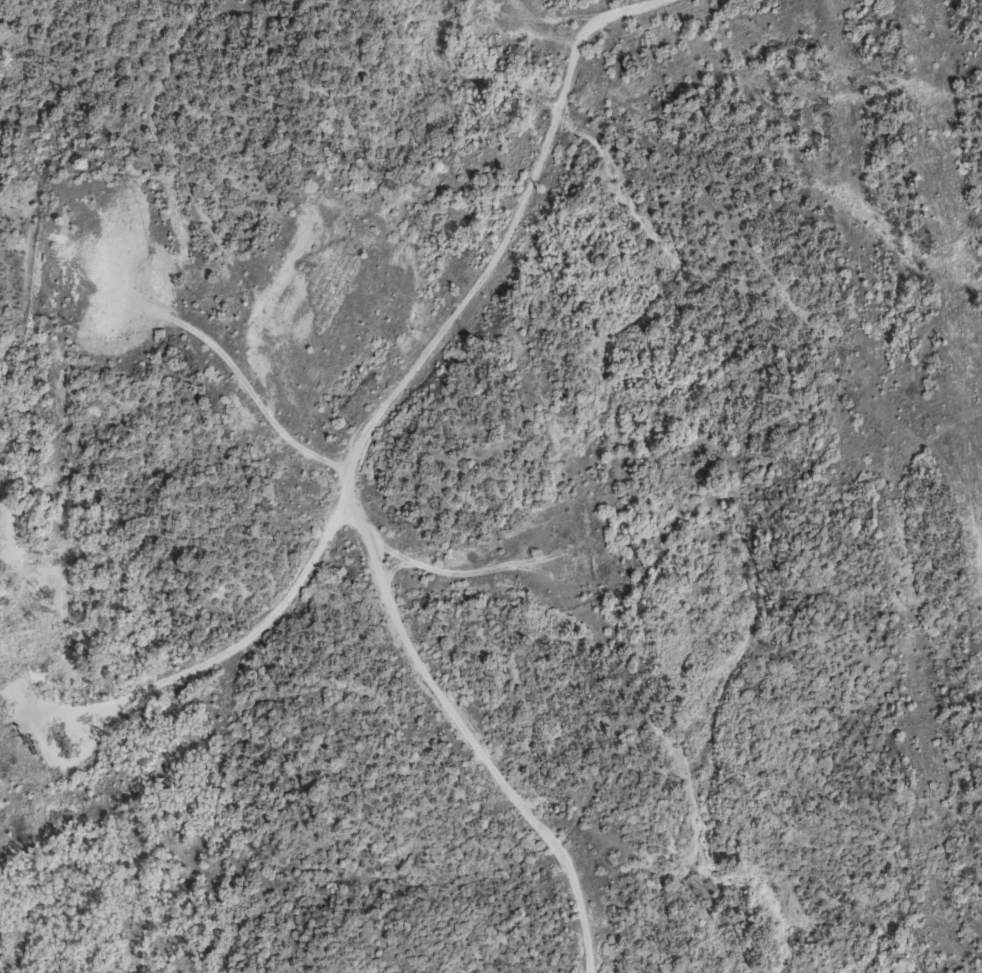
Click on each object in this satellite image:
road: (494, 250)
road: (298, 512)

